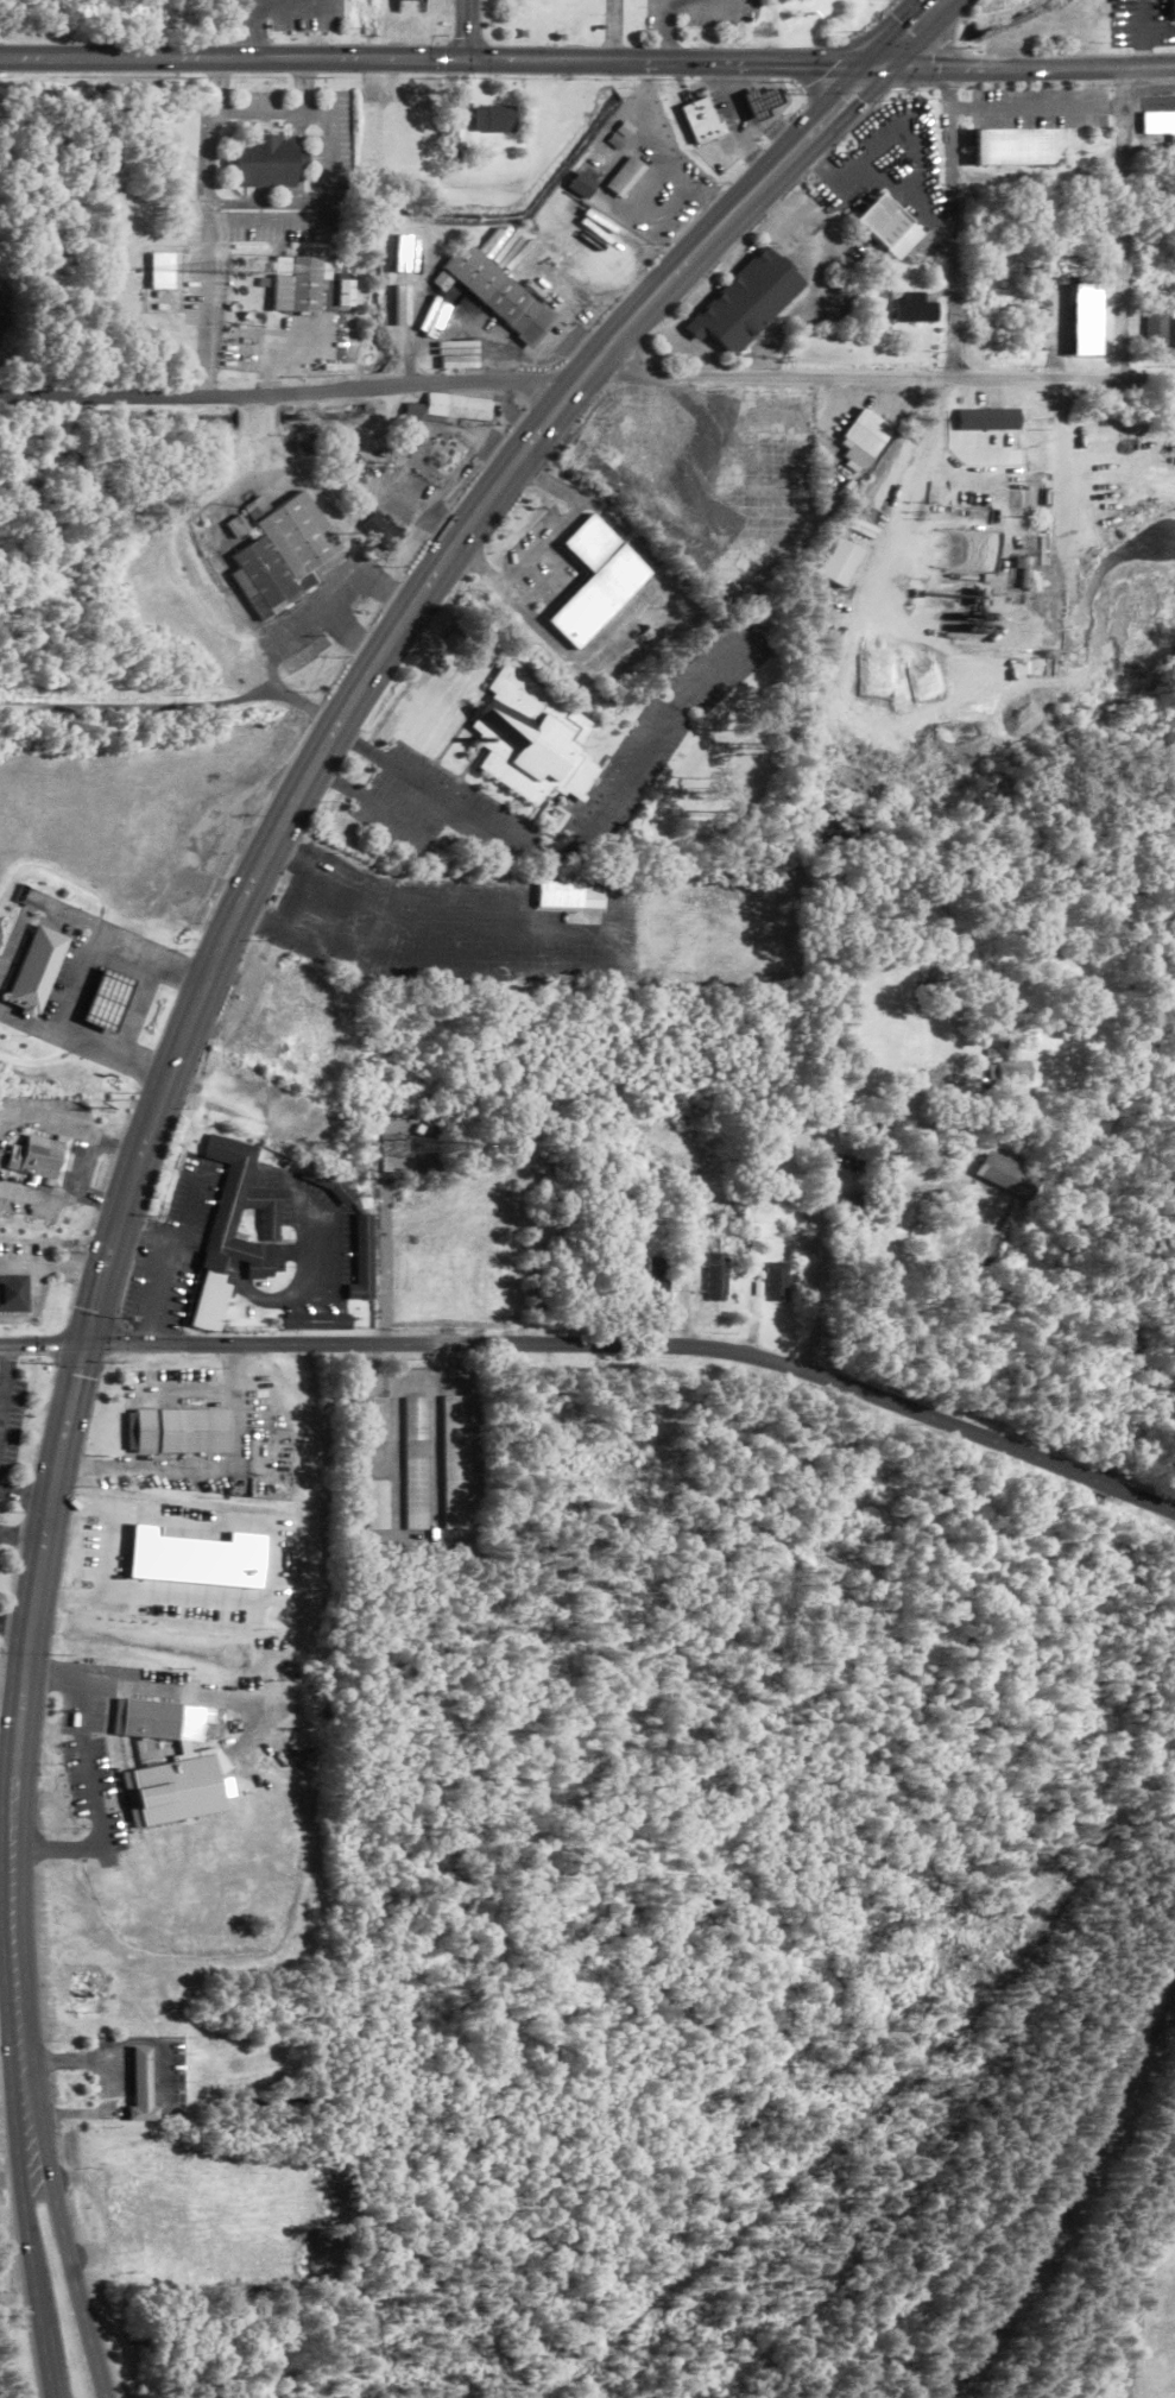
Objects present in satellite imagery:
road: (701, 0)
building: (1173, 10)
road: (470, 30)
road: (618, 31)
road: (665, 32)
road: (912, 36)
road: (234, 59)
traffic signals: (470, 61)
road: (674, 64)
road: (1026, 70)
traffic signals: (878, 71)
road: (728, 72)
road: (214, 87)
road: (301, 87)
road: (739, 102)
building: (762, 103)
gas station: (762, 103)
road: (315, 113)
road: (257, 114)
building: (493, 120)
building: (701, 121)
building: (1158, 125)
road: (777, 131)
building: (454, 140)
building: (1017, 147)
road: (750, 150)
road: (203, 162)
building: (261, 162)
building: (298, 162)
road: (329, 170)
building: (626, 178)
building: (582, 187)
road: (289, 202)
road: (258, 221)
road: (955, 226)
road: (1125, 226)
building: (889, 227)
building: (159, 271)
building: (1161, 273)
building: (295, 284)
building: (343, 292)
building: (498, 295)
building: (747, 303)
road: (202, 304)
building: (915, 309)
building: (1155, 330)
building: (1173, 336)
road: (889, 380)
road: (285, 395)
building: (448, 410)
building: (992, 419)
building: (865, 438)
building: (236, 528)
building: (381, 531)
building: (282, 554)
building: (842, 563)
building: (599, 580)
road: (177, 707)
building: (532, 739)
road: (361, 746)
road: (460, 806)
road: (289, 822)
building: (574, 896)
building: (32, 972)
building: (110, 1002)
gas station: (110, 1002)
building: (131, 1012)
building: (1066, 1018)
building: (276, 1022)
building: (1009, 1072)
building: (410, 1147)
building: (927, 1154)
building: (38, 1155)
building: (59, 1160)
building: (1013, 1175)
building: (331, 1182)
building: (249, 1199)
road: (820, 1200)
building: (18, 1218)
building: (364, 1257)
building: (214, 1261)
building: (716, 1277)
building: (658, 1280)
building: (777, 1282)
building: (14, 1294)
building: (209, 1301)
building: (317, 1321)
road: (600, 1345)
traffic signals: (90, 1346)
road: (5, 1378)
building: (368, 1419)
building: (183, 1431)
building: (453, 1463)
building: (415, 1464)
road: (26, 1495)
building: (377, 1506)
building: (165, 1721)
road: (2, 1767)
road: (89, 1775)
building: (179, 1792)
road: (1, 1906)
road: (24, 1907)
road: (1, 1910)
building: (140, 2089)
road: (10, 2183)
railway: (1081, 2196)
road: (26, 2239)
road: (61, 2240)

